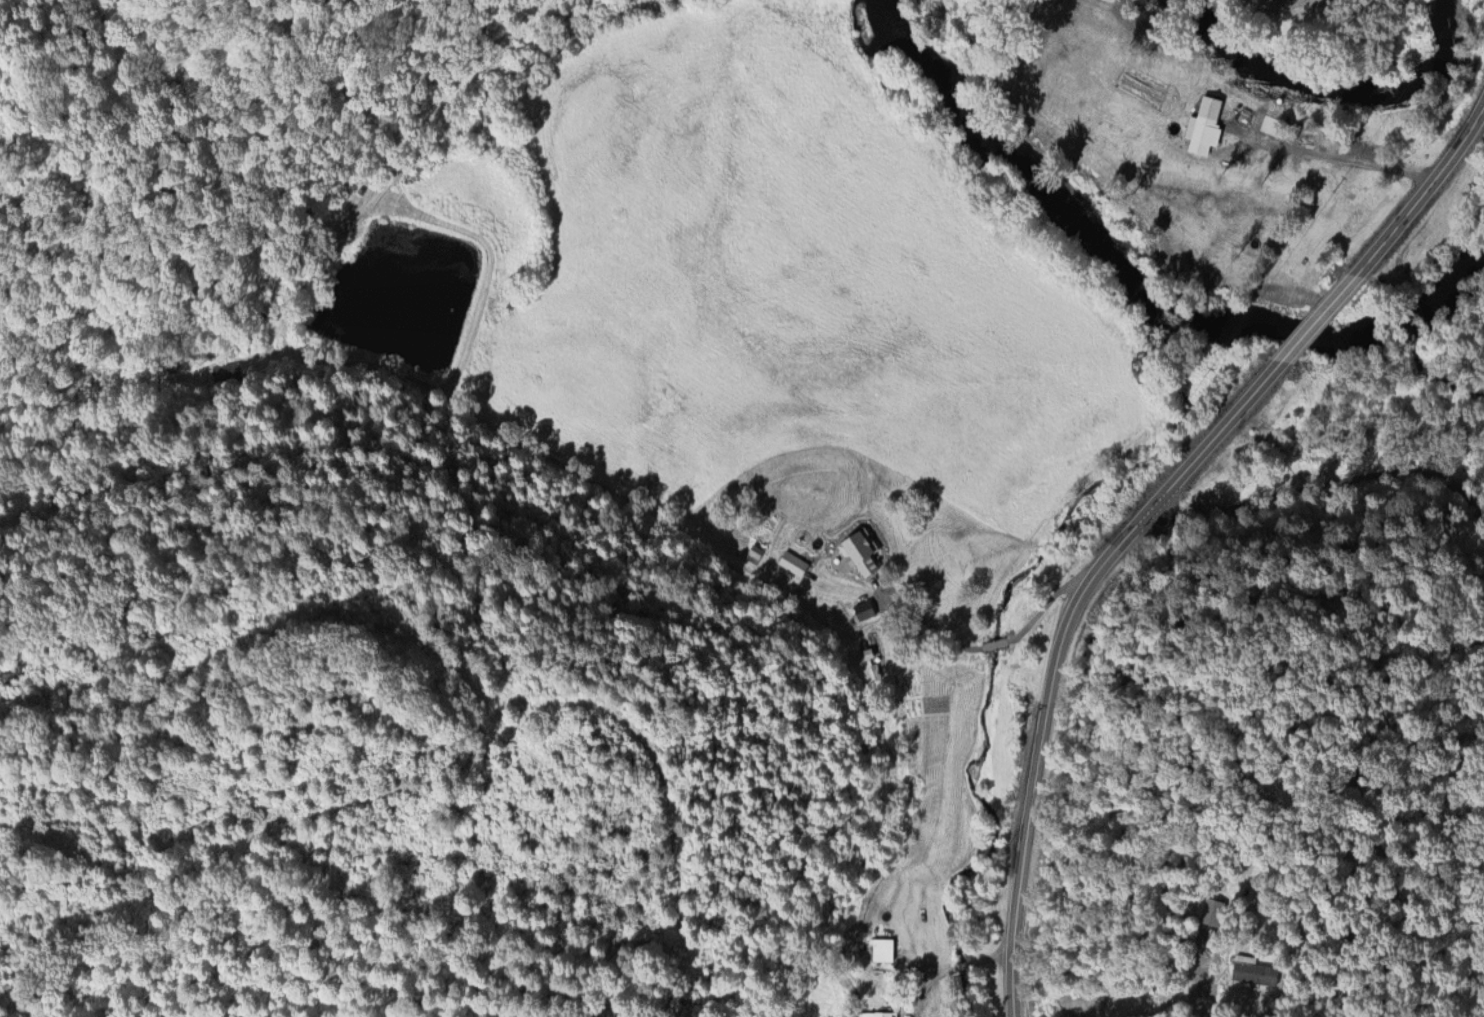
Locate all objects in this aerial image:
crop: (1347, 30)
river: (1347, 78)
building: (1202, 132)
road: (377, 150)
road: (1344, 153)
road: (1427, 187)
road: (101, 236)
river: (1142, 250)
road: (1313, 325)
road: (144, 376)
road: (1327, 482)
road: (685, 536)
building: (860, 548)
building: (755, 550)
building: (794, 560)
building: (863, 608)
building: (866, 651)
road: (1056, 666)
road: (451, 739)
building: (882, 947)
building: (1255, 972)
road: (1201, 1001)
building: (880, 1010)

